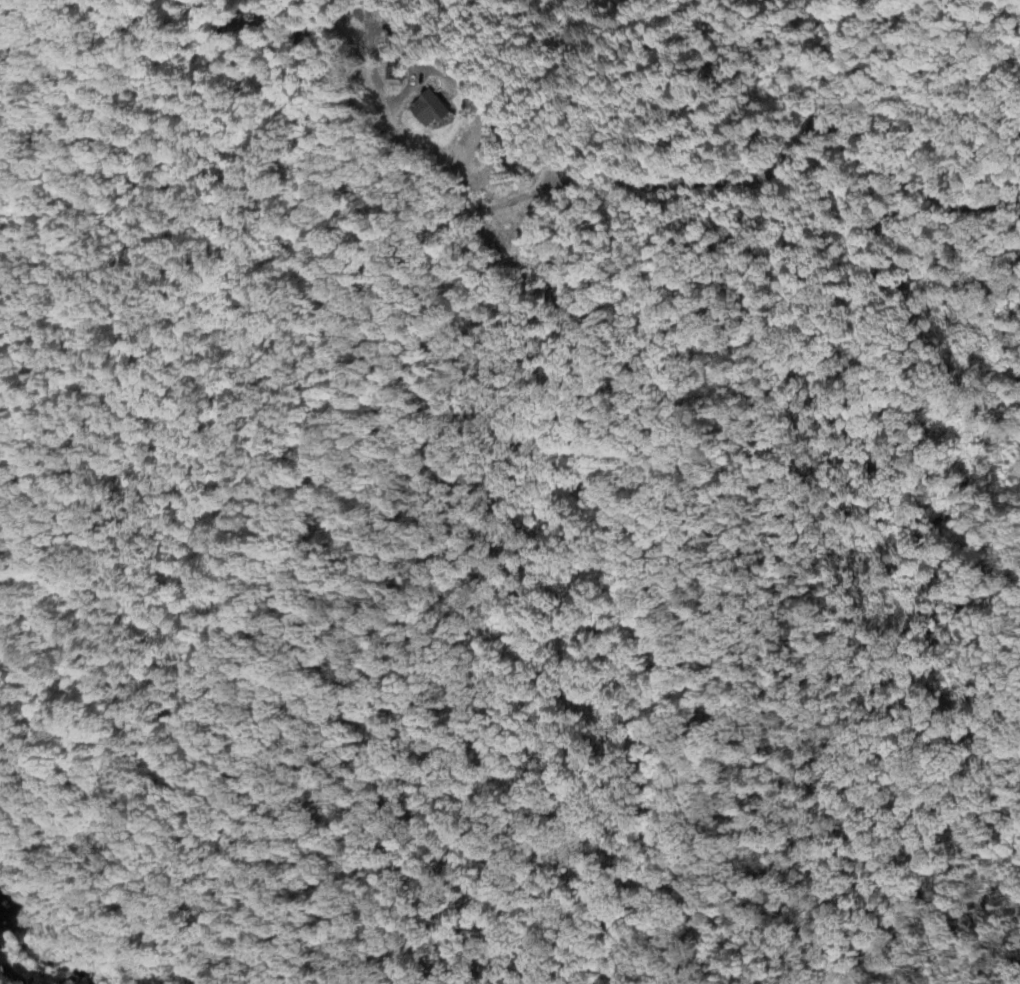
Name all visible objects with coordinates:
building: (438, 110)
road: (634, 182)

